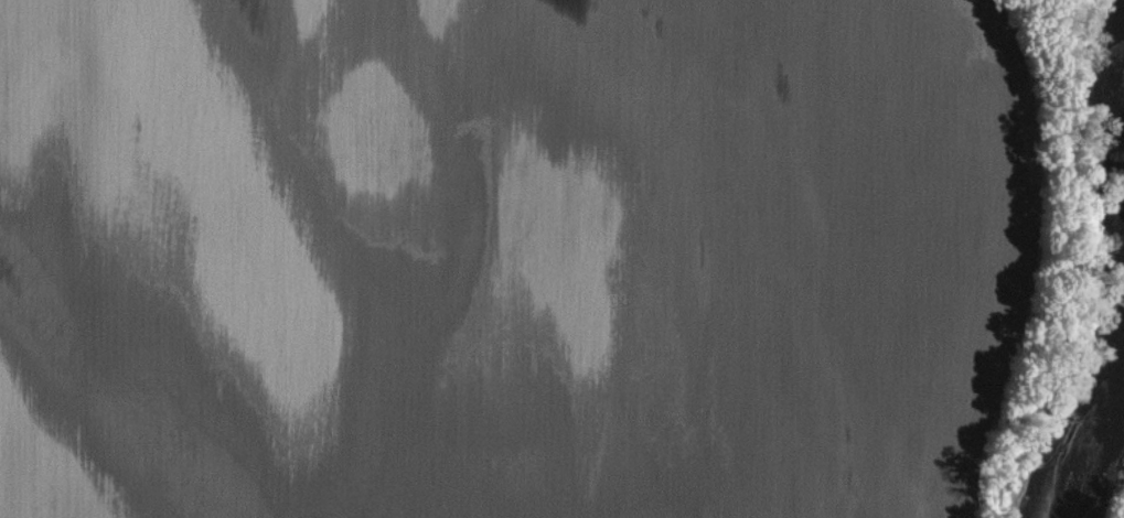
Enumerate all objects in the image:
river: (1118, 22)
river: (1102, 391)

